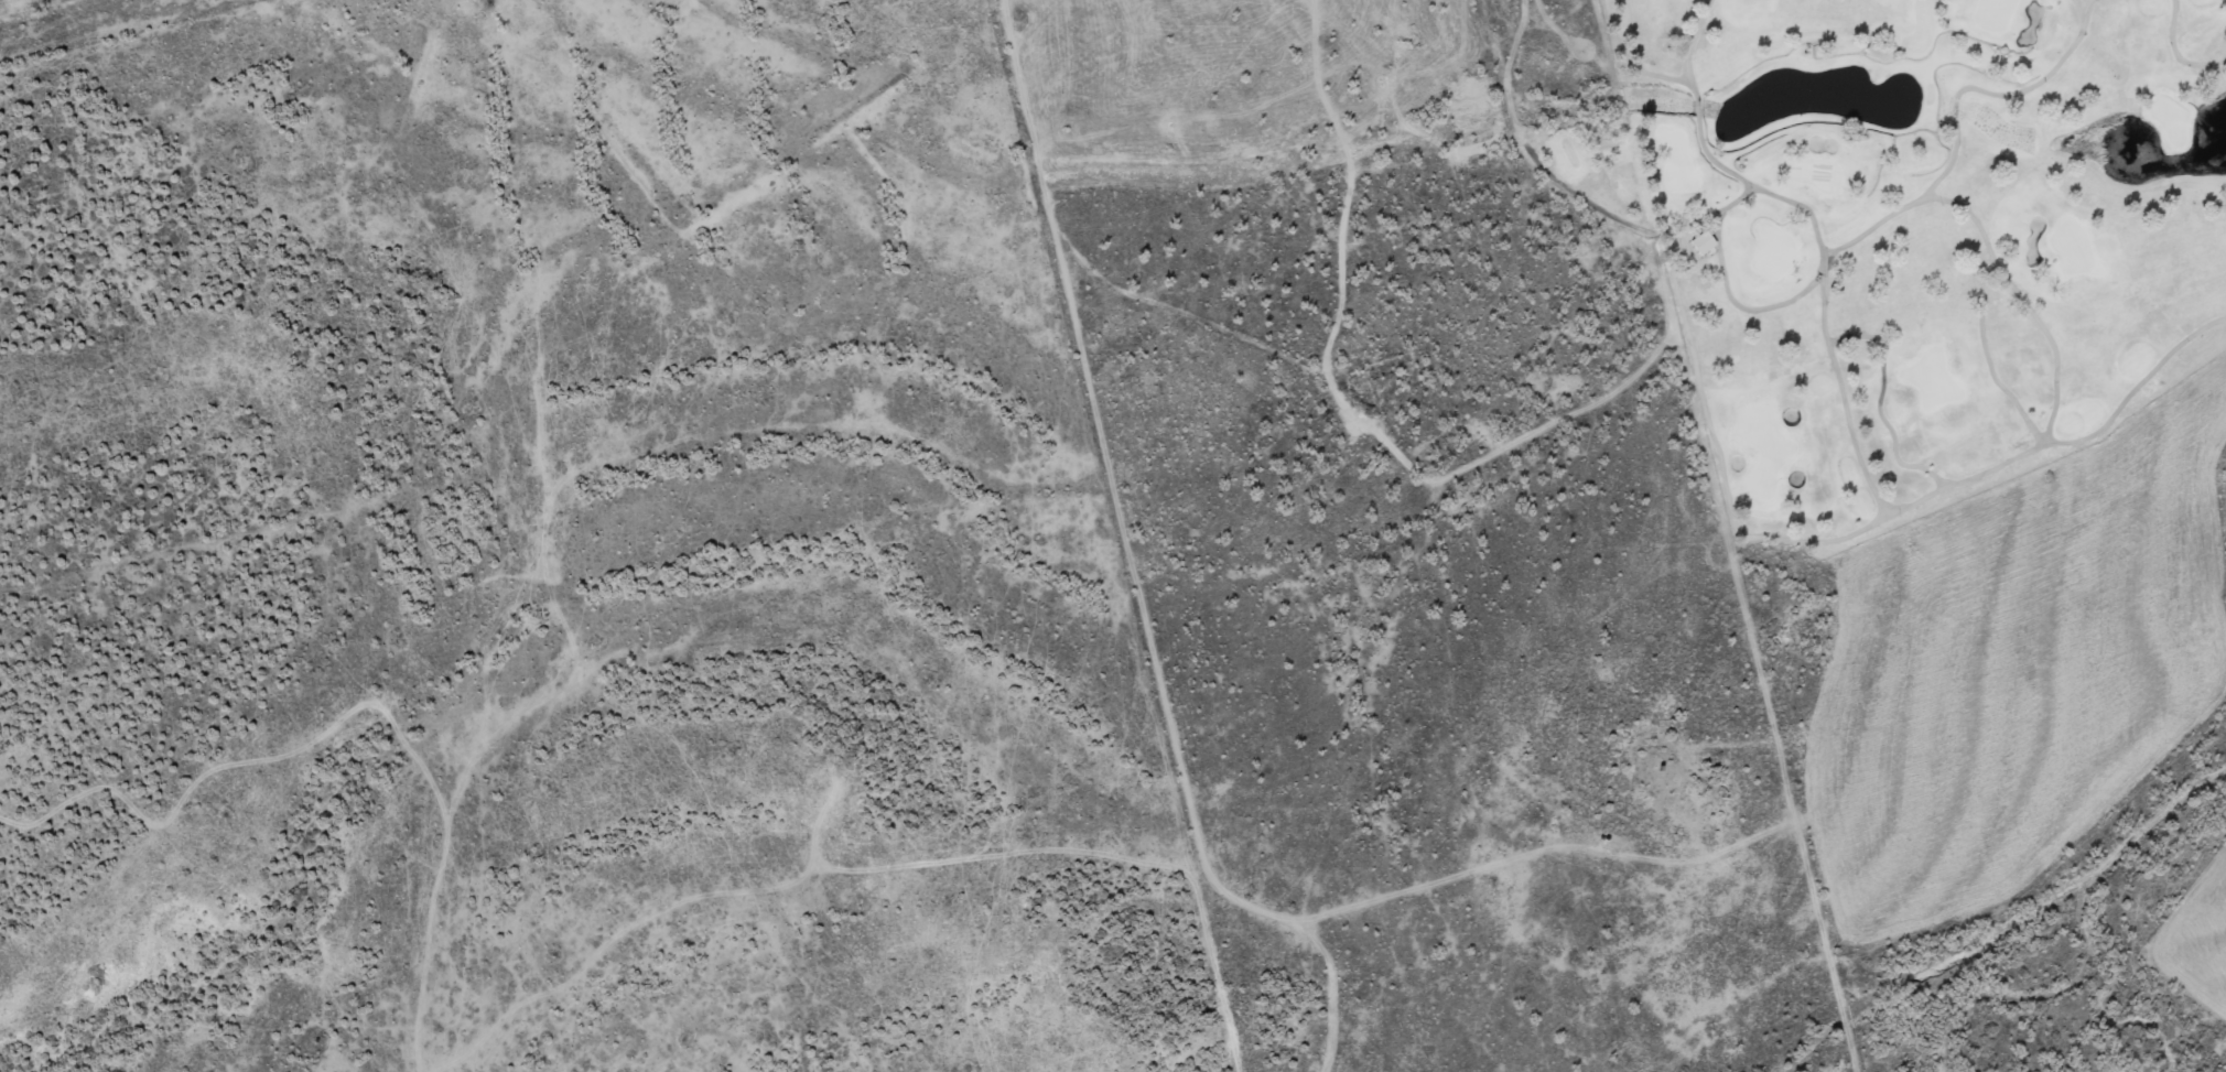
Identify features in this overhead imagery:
building: (1706, 241)

